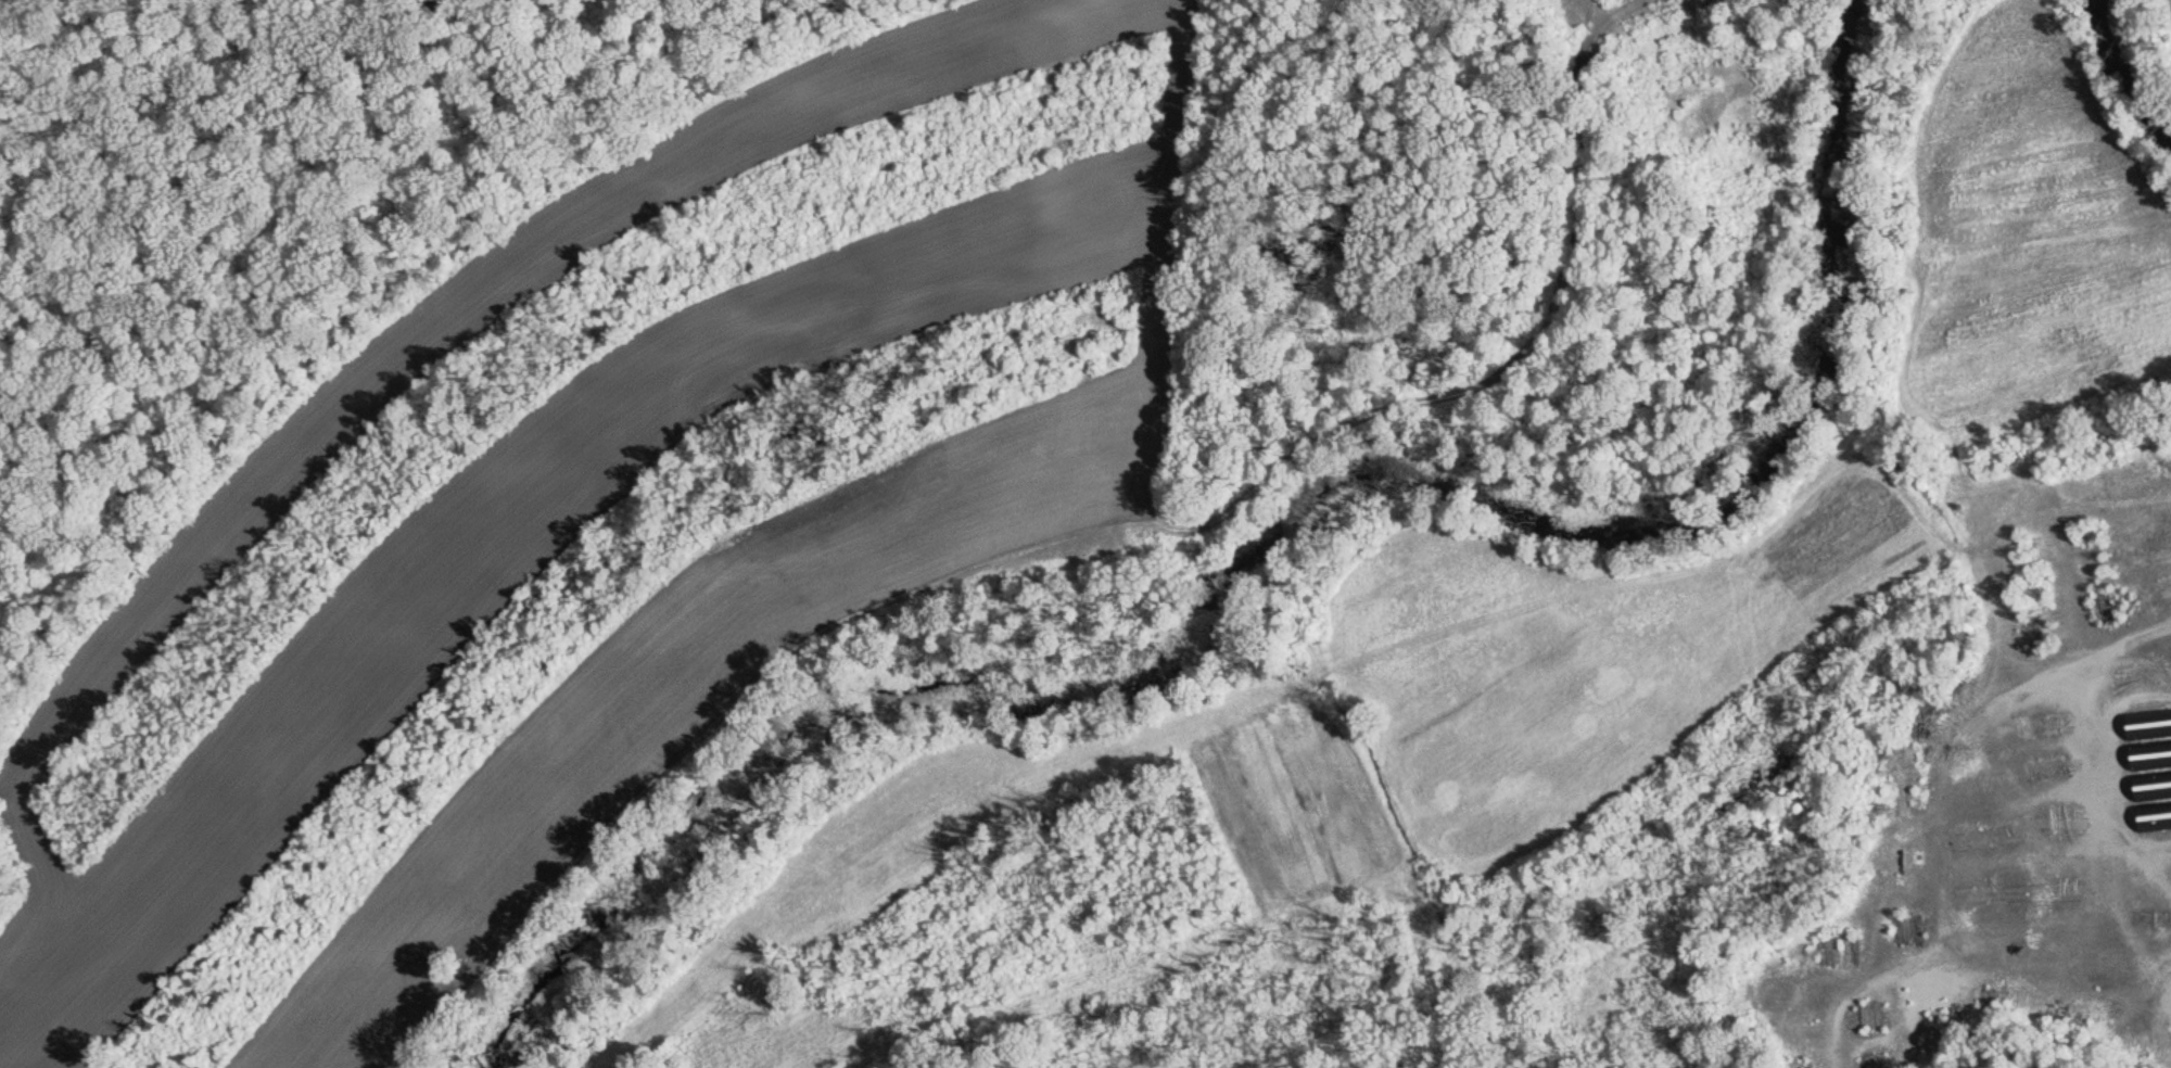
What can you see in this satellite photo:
road: (2138, 632)
building: (2150, 725)
building: (2153, 755)
road: (690, 761)
building: (2156, 801)

